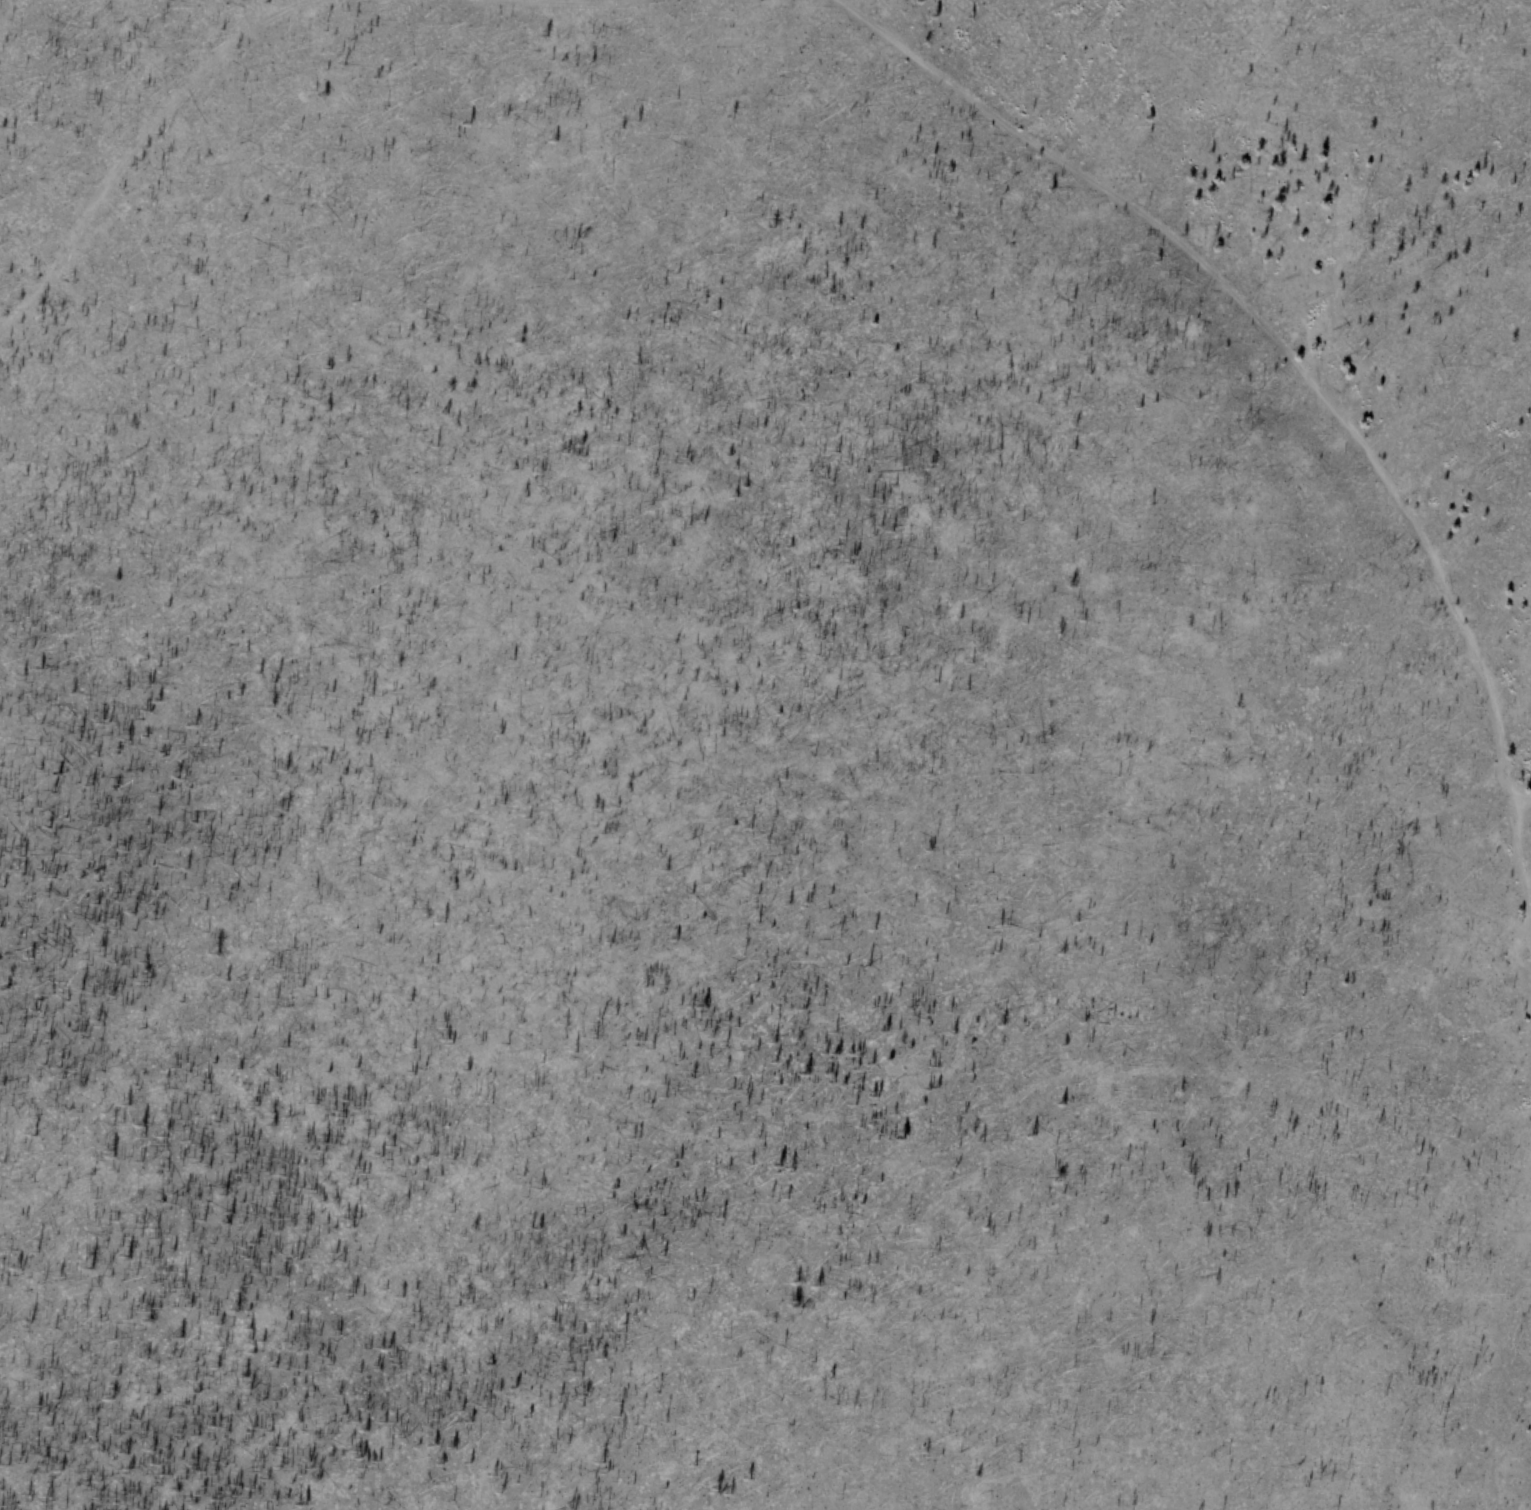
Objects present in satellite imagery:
road: (582, 3)
road: (135, 145)
road: (1311, 386)
road: (1519, 802)

